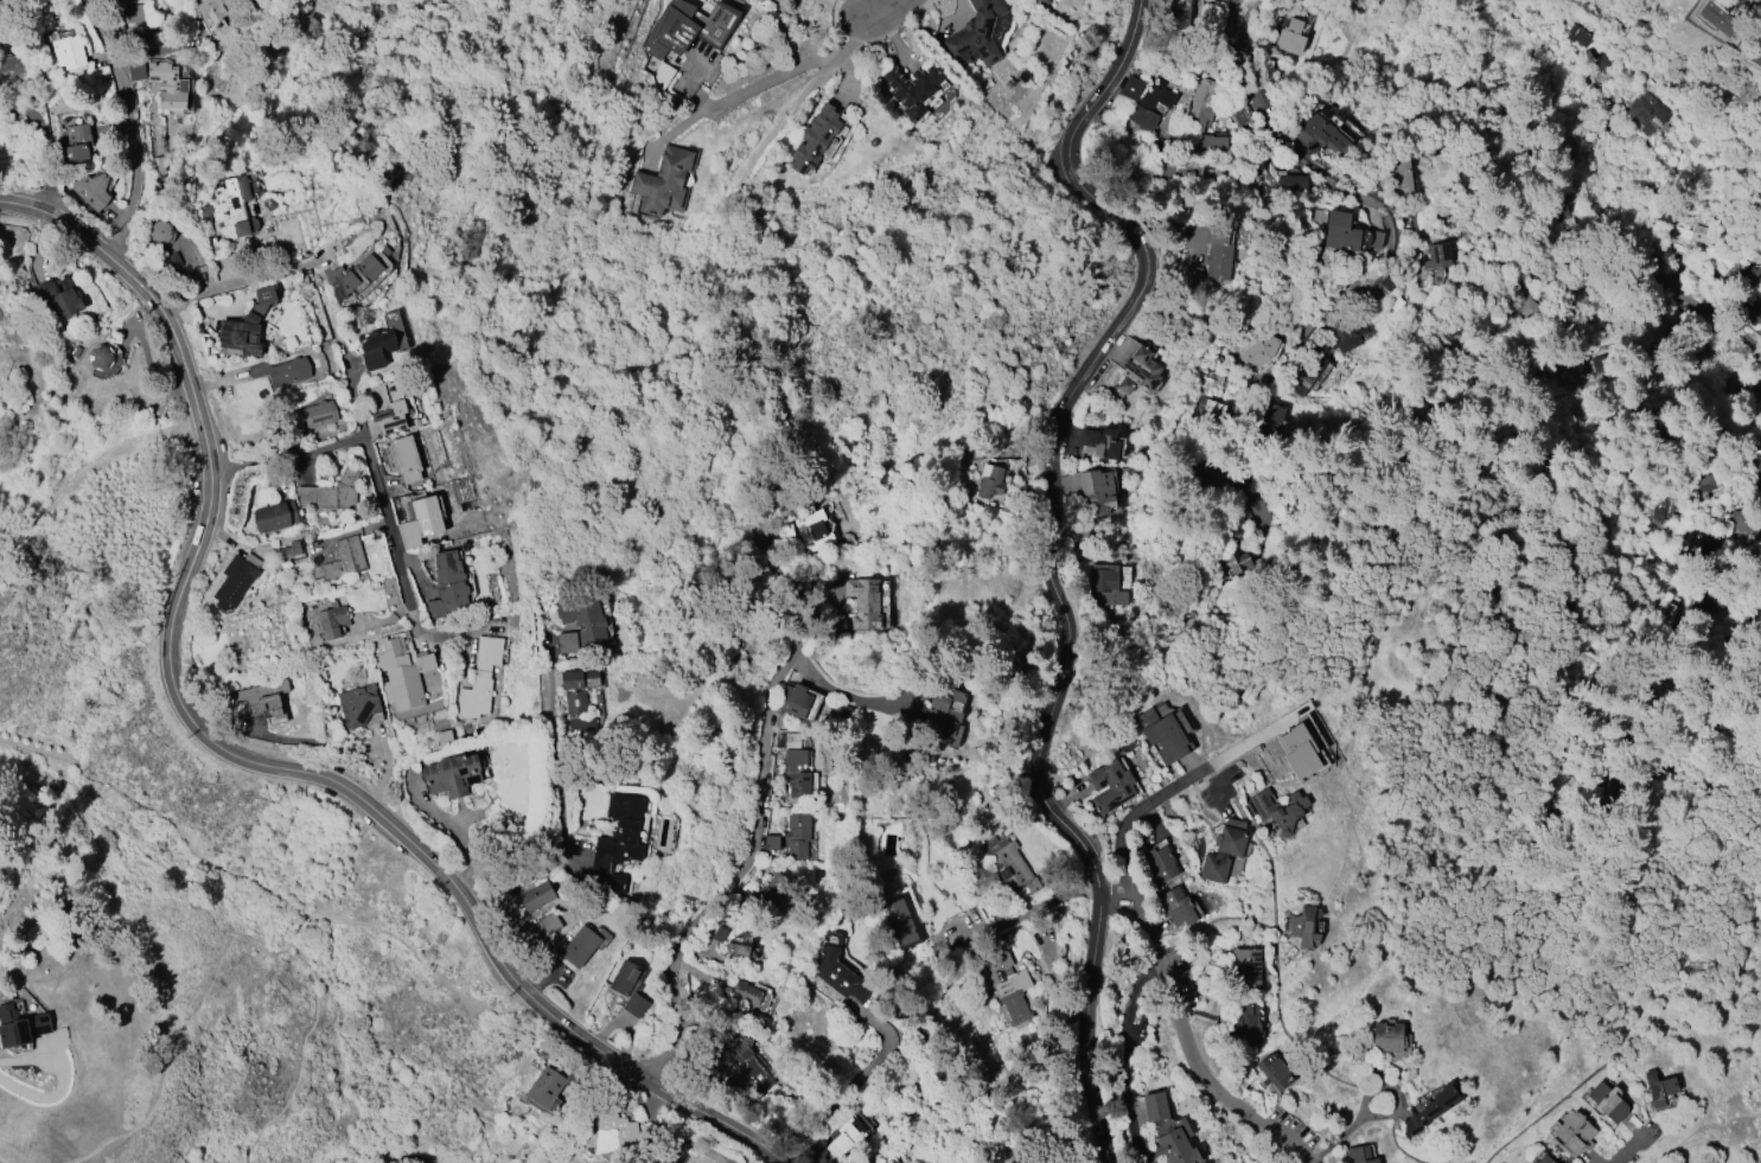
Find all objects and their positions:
building: (1252, 5)
road: (1468, 6)
road: (1752, 7)
road: (886, 9)
building: (211, 11)
road: (1480, 12)
building: (134, 13)
building: (1179, 13)
building: (1718, 17)
road: (1467, 23)
building: (685, 27)
building: (977, 34)
building: (1577, 36)
building: (1290, 37)
building: (68, 52)
building: (1754, 53)
building: (1596, 59)
building: (11, 68)
building: (135, 72)
building: (168, 85)
road: (752, 87)
building: (913, 89)
building: (1144, 101)
building: (1642, 108)
building: (1202, 124)
road: (128, 126)
building: (1321, 132)
building: (816, 138)
building: (77, 143)
road: (43, 146)
road: (1626, 168)
building: (1392, 174)
building: (665, 180)
building: (1295, 183)
building: (91, 188)
road: (1634, 193)
building: (1561, 200)
building: (229, 209)
road: (727, 221)
building: (1340, 231)
building: (1374, 239)
road: (1651, 242)
building: (215, 248)
building: (1217, 255)
building: (1436, 255)
road: (1387, 258)
building: (173, 260)
building: (351, 276)
building: (1191, 276)
road: (234, 283)
road: (1699, 292)
road: (1684, 294)
road: (1690, 294)
building: (264, 295)
building: (58, 296)
building: (1753, 303)
road: (1734, 322)
building: (1346, 333)
building: (240, 336)
building: (375, 350)
building: (1257, 352)
building: (101, 357)
building: (289, 371)
building: (1138, 371)
building: (1306, 372)
road: (1580, 383)
building: (385, 409)
building: (1206, 411)
building: (313, 415)
building: (1269, 423)
building: (1098, 442)
road: (285, 454)
building: (407, 459)
building: (1755, 468)
road: (1723, 471)
road: (372, 474)
building: (989, 483)
building: (1703, 487)
building: (1097, 491)
building: (336, 496)
building: (1233, 500)
road: (1557, 512)
building: (275, 517)
building: (1652, 517)
building: (421, 522)
building: (812, 530)
building: (784, 535)
building: (1231, 535)
road: (1406, 544)
building: (288, 549)
road: (1046, 556)
building: (344, 560)
building: (1229, 565)
building: (236, 580)
building: (1105, 584)
building: (448, 587)
building: (863, 603)
building: (332, 620)
building: (581, 625)
road: (168, 651)
building: (400, 671)
building: (579, 678)
building: (479, 679)
road: (849, 694)
building: (264, 699)
building: (793, 699)
building: (359, 707)
building: (576, 713)
building: (841, 714)
building: (944, 716)
building: (1162, 735)
building: (445, 737)
building: (1299, 752)
road: (767, 766)
building: (795, 773)
building: (453, 774)
building: (1110, 786)
road: (556, 797)
building: (1278, 810)
road: (1136, 820)
building: (796, 836)
building: (615, 843)
building: (1223, 854)
building: (1006, 861)
building: (1159, 864)
building: (773, 889)
building: (536, 896)
building: (1176, 906)
road: (1027, 908)
building: (901, 921)
building: (549, 922)
building: (1302, 926)
road: (409, 944)
building: (740, 945)
building: (580, 946)
building: (1245, 966)
building: (838, 970)
road: (1399, 971)
building: (624, 977)
building: (1008, 986)
building: (746, 992)
building: (634, 1005)
building: (1248, 1024)
building: (20, 1027)
building: (1387, 1037)
road: (1186, 1039)
road: (598, 1052)
road: (1121, 1059)
road: (338, 1061)
building: (746, 1062)
road: (299, 1068)
building: (1274, 1071)
road: (854, 1080)
building: (556, 1085)
building: (1658, 1088)
road: (56, 1093)
building: (1607, 1101)
building: (1155, 1106)
building: (1431, 1108)
road: (717, 1120)
road: (1704, 1124)
building: (1572, 1131)
building: (614, 1132)
road: (1348, 1133)
road: (670, 1137)
building: (843, 1138)
building: (1176, 1148)
road: (1635, 1148)
building: (816, 1150)
building: (1359, 1155)
building: (1543, 1159)
road: (415, 1161)

